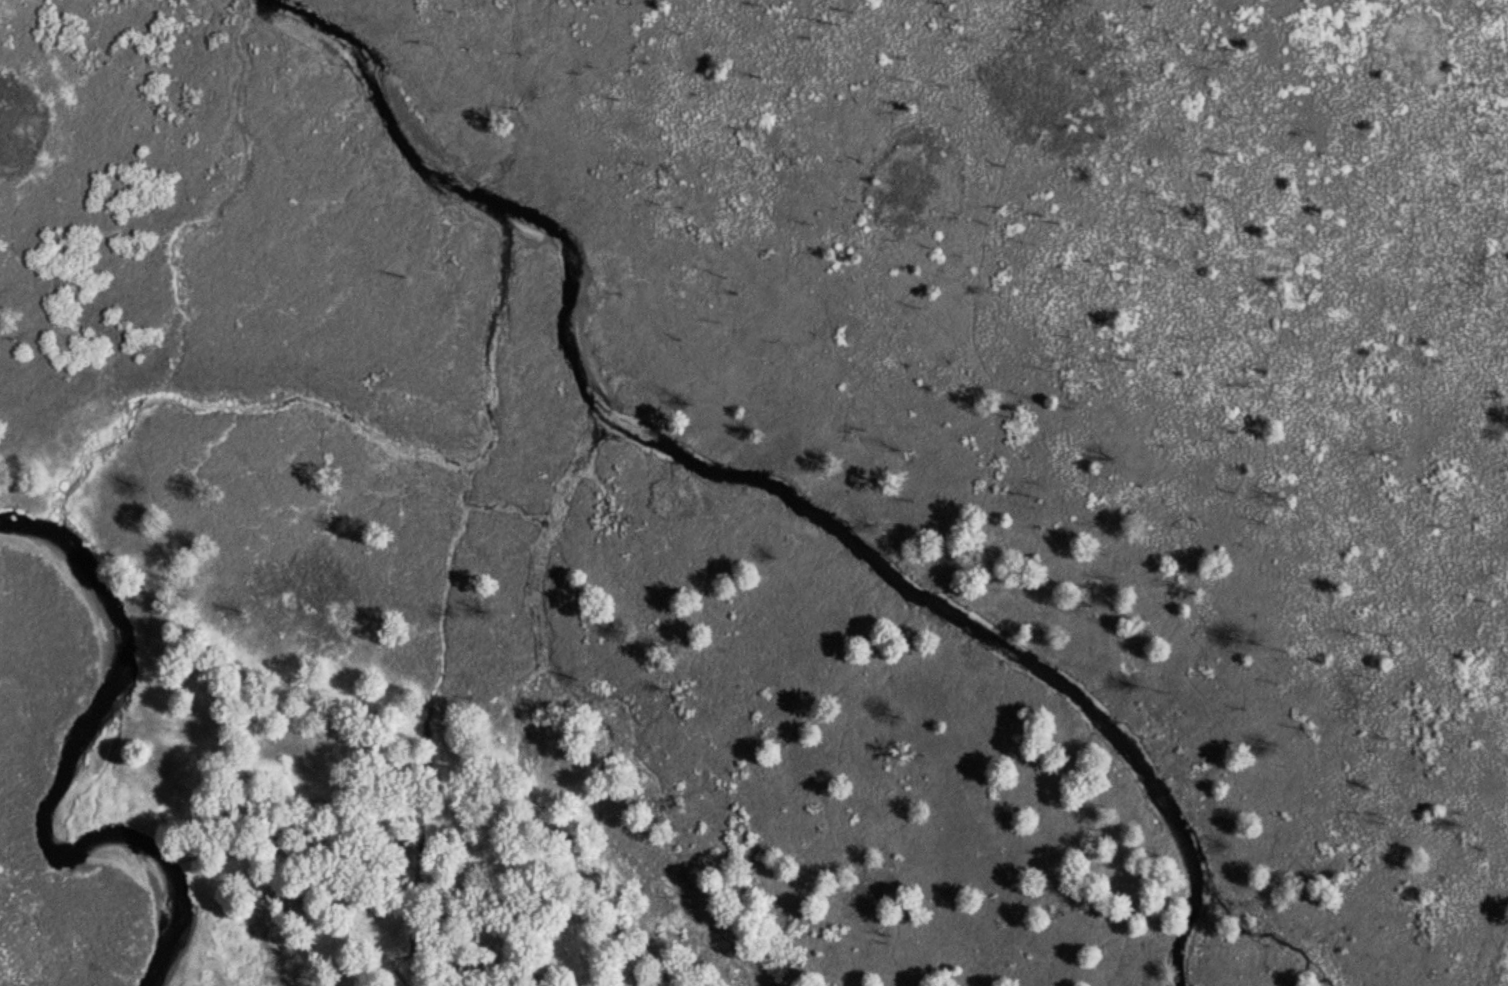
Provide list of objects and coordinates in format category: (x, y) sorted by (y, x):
river: (67, 769)

